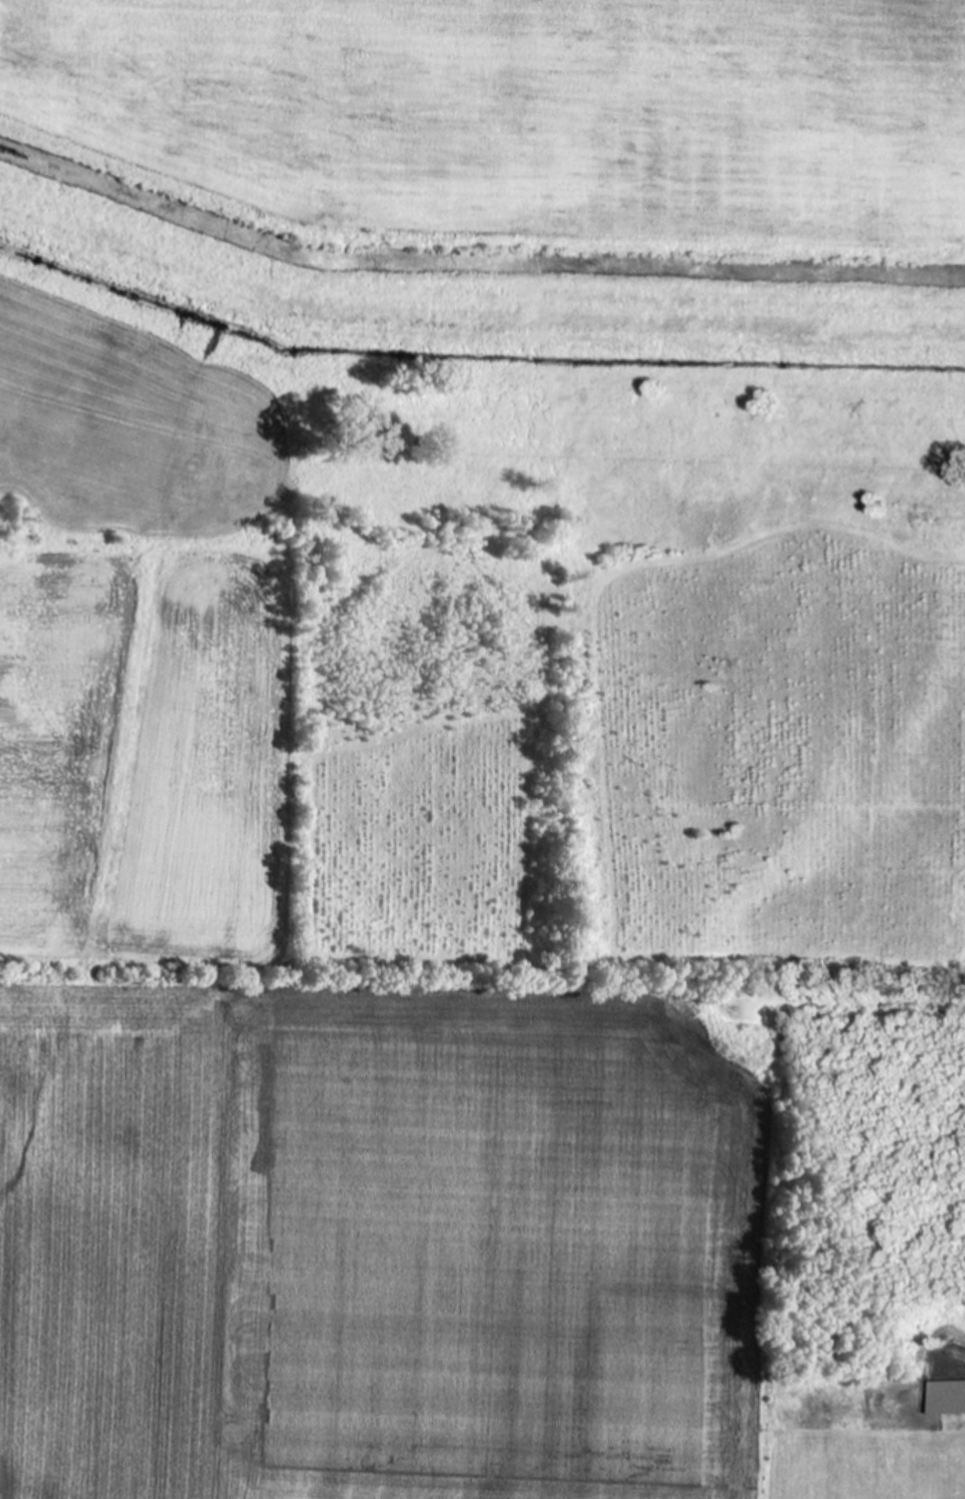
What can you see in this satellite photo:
building: (947, 1404)

